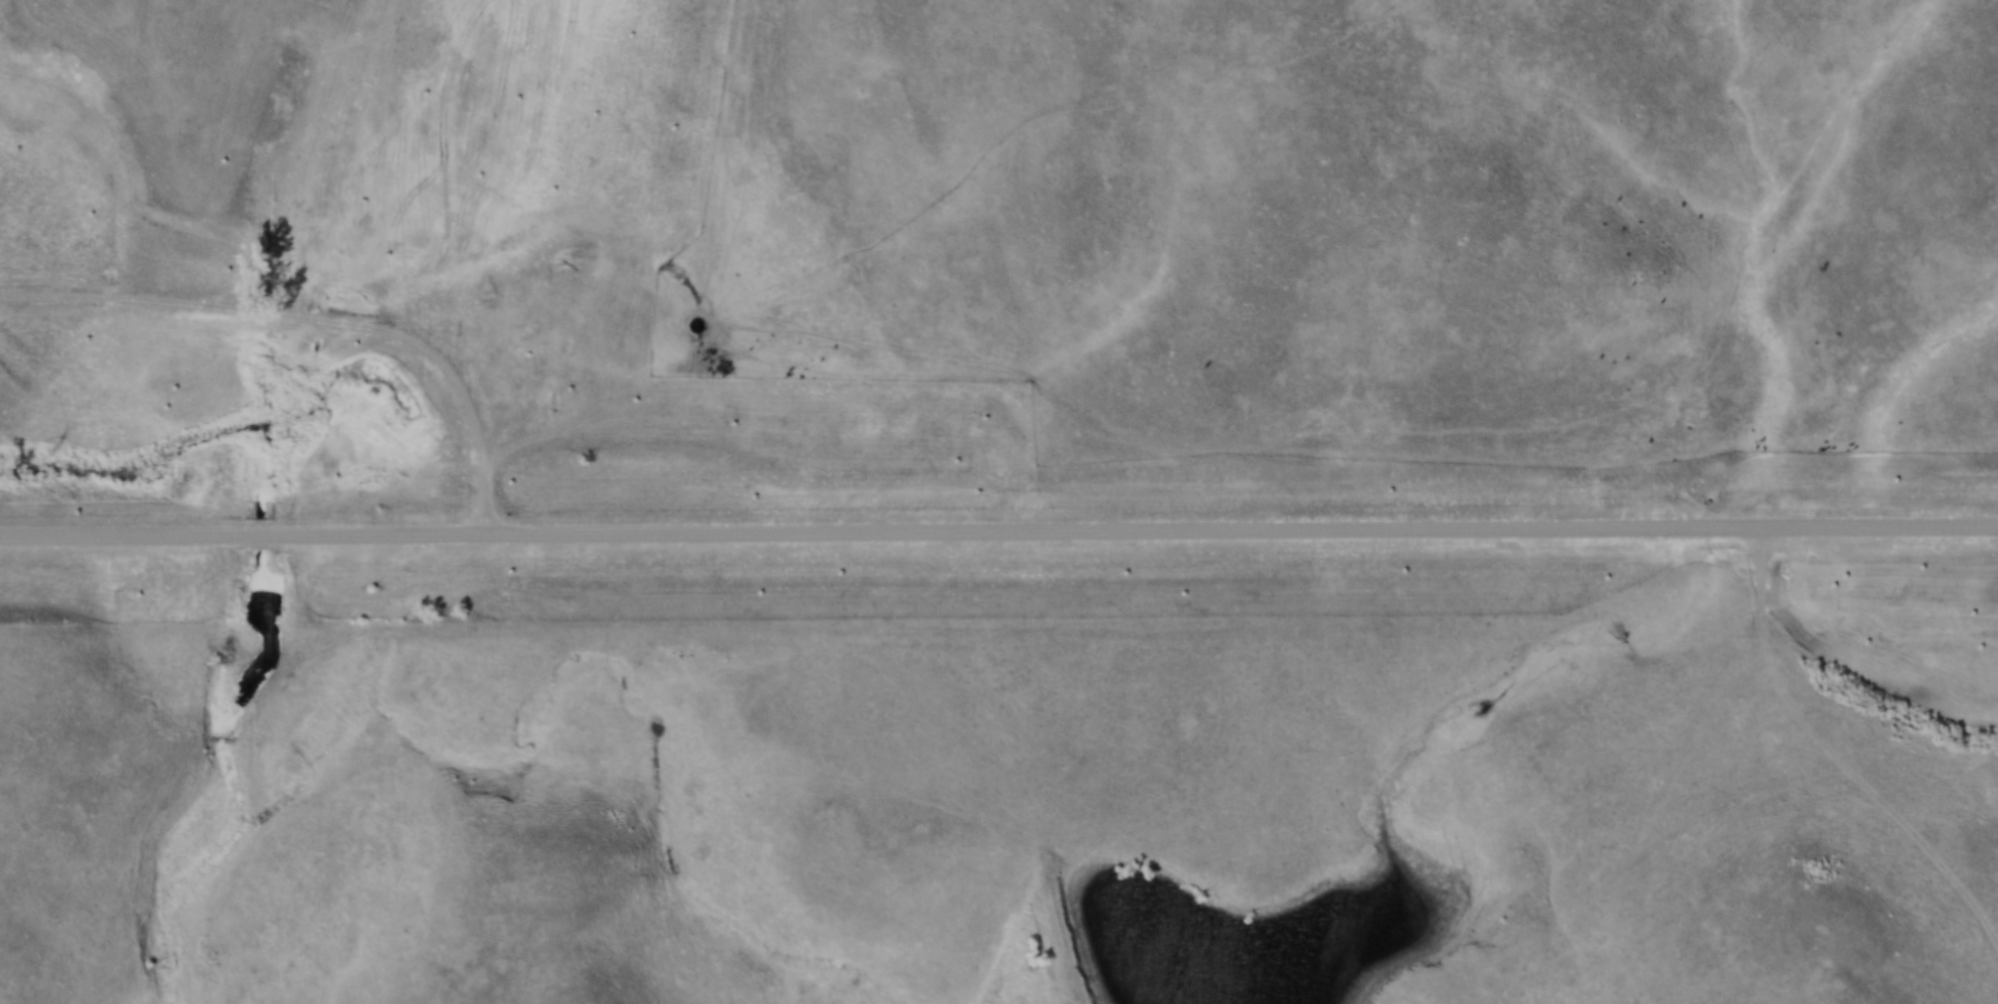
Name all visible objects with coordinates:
road: (718, 296)
road: (316, 319)
road: (999, 536)
road: (1687, 760)

